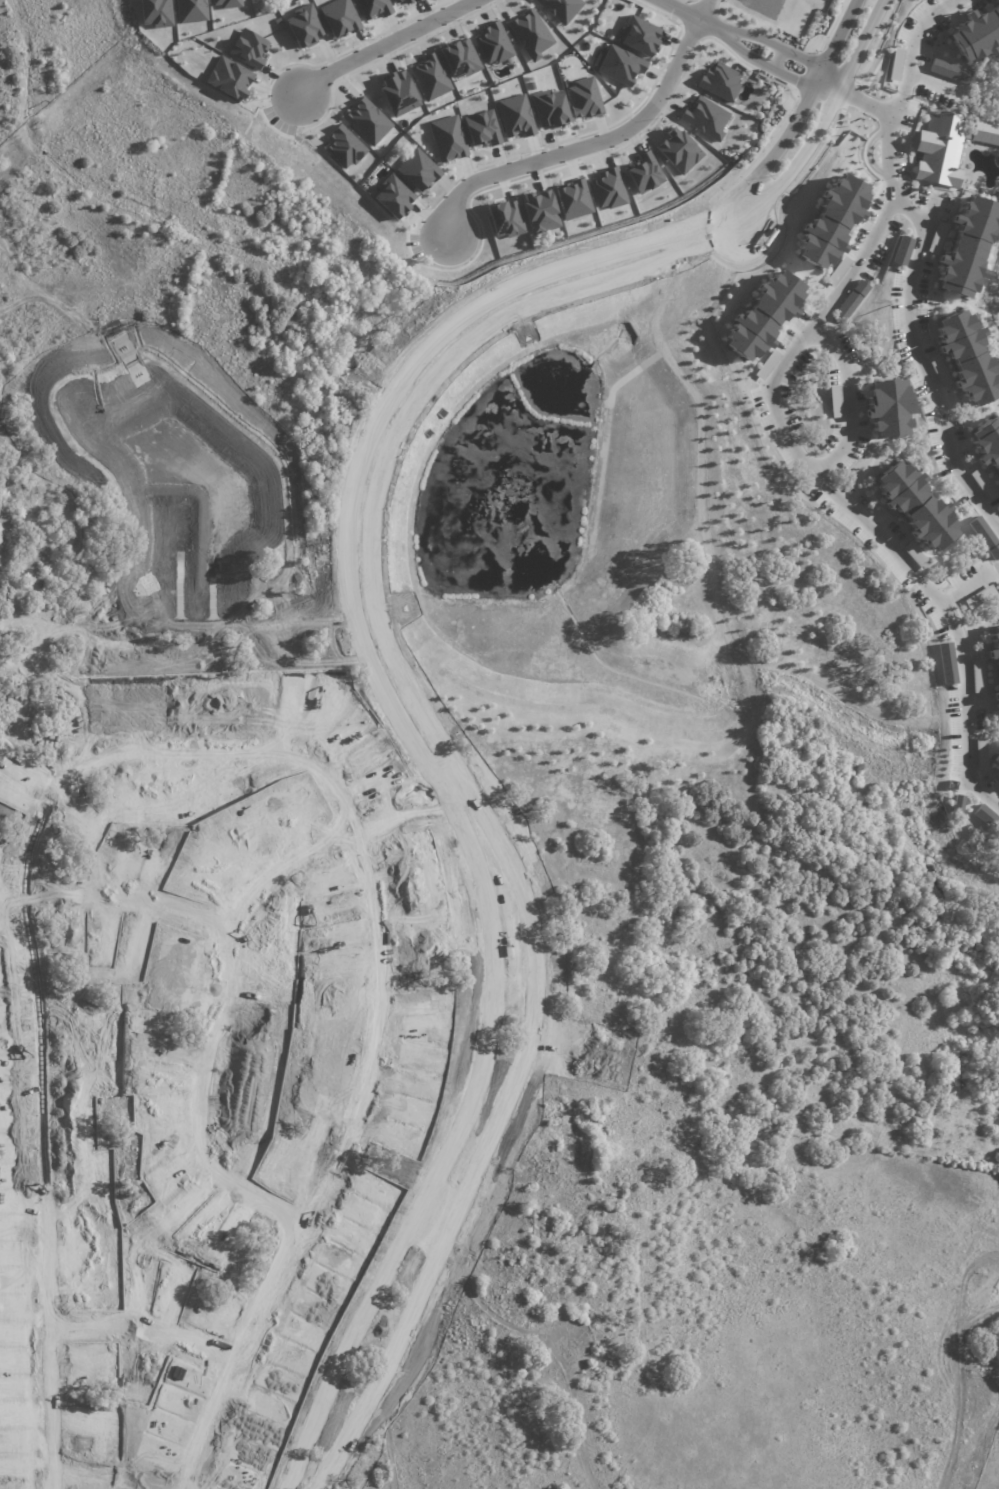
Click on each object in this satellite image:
building: (396, 0)
building: (409, 1)
building: (227, 3)
building: (373, 7)
building: (561, 8)
building: (191, 10)
building: (157, 12)
road: (687, 13)
building: (339, 17)
building: (304, 24)
road: (751, 32)
building: (531, 33)
building: (976, 34)
building: (640, 35)
road: (915, 37)
building: (494, 42)
building: (248, 47)
road: (384, 47)
road: (878, 48)
road: (741, 53)
building: (460, 57)
road: (777, 57)
road: (815, 61)
building: (620, 64)
building: (945, 70)
building: (430, 76)
building: (230, 77)
building: (721, 81)
road: (804, 86)
building: (399, 91)
building: (584, 97)
road: (868, 101)
building: (550, 107)
building: (515, 115)
building: (706, 117)
building: (367, 120)
building: (482, 127)
road: (892, 131)
building: (448, 137)
road: (591, 145)
building: (344, 146)
building: (948, 146)
building: (679, 150)
building: (418, 170)
building: (646, 172)
road: (897, 187)
building: (608, 188)
building: (394, 196)
building: (574, 198)
road: (780, 201)
building: (541, 210)
building: (506, 218)
building: (834, 219)
building: (934, 244)
building: (970, 246)
building: (902, 250)
building: (837, 271)
building: (853, 297)
building: (764, 314)
building: (969, 355)
building: (766, 364)
road: (924, 366)
road: (848, 395)
building: (890, 406)
building: (836, 410)
building: (986, 443)
building: (900, 485)
road: (850, 493)
building: (839, 517)
building: (931, 522)
building: (984, 536)
building: (890, 566)
road: (366, 653)
road: (393, 657)
building: (994, 657)
building: (947, 663)
building: (978, 675)
road: (218, 747)
building: (981, 753)
building: (997, 754)
building: (997, 760)
building: (996, 769)
building: (958, 801)
building: (979, 811)
road: (129, 895)
road: (223, 960)
road: (434, 1217)
road: (147, 1330)
road: (104, 1474)

